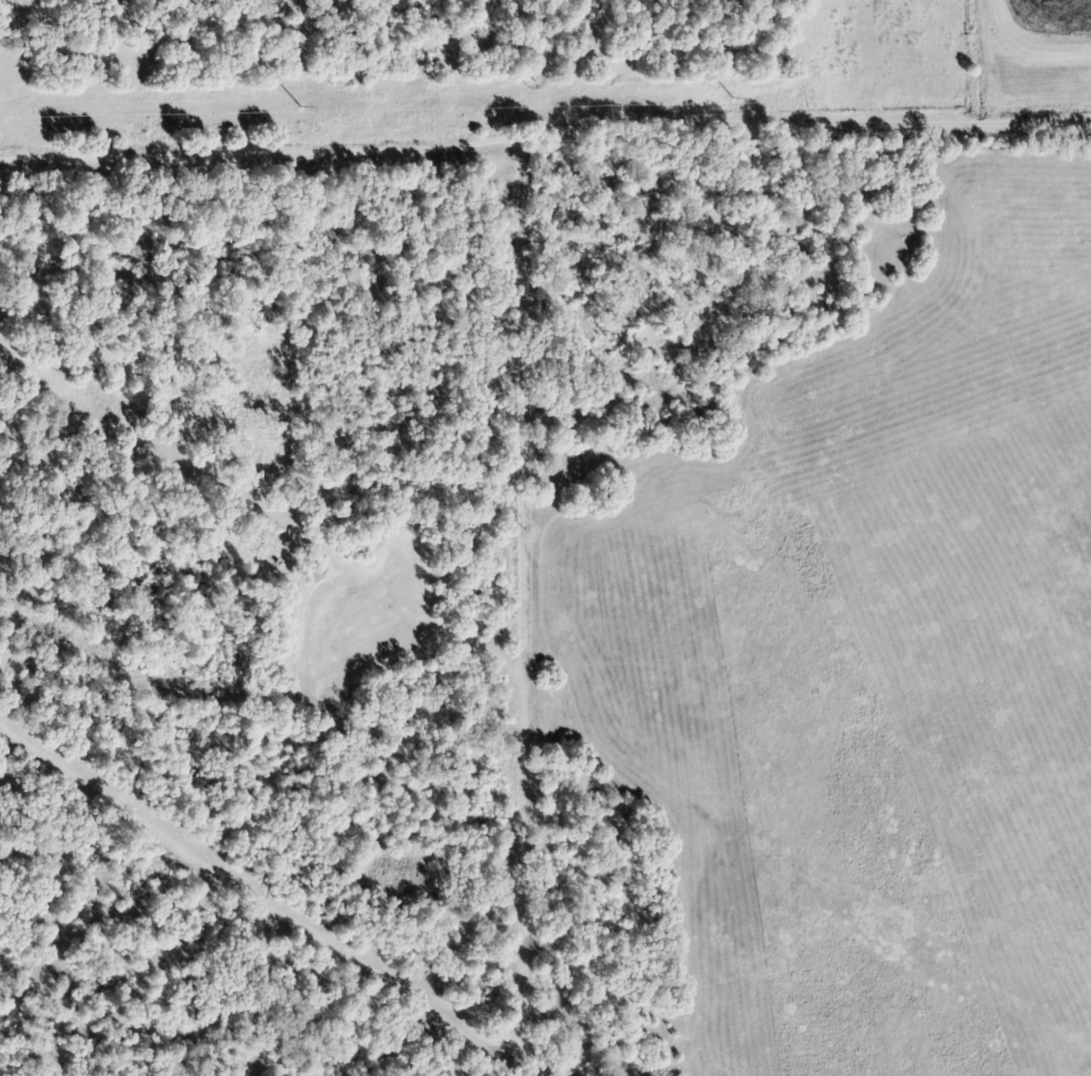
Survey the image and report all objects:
road: (544, 132)

